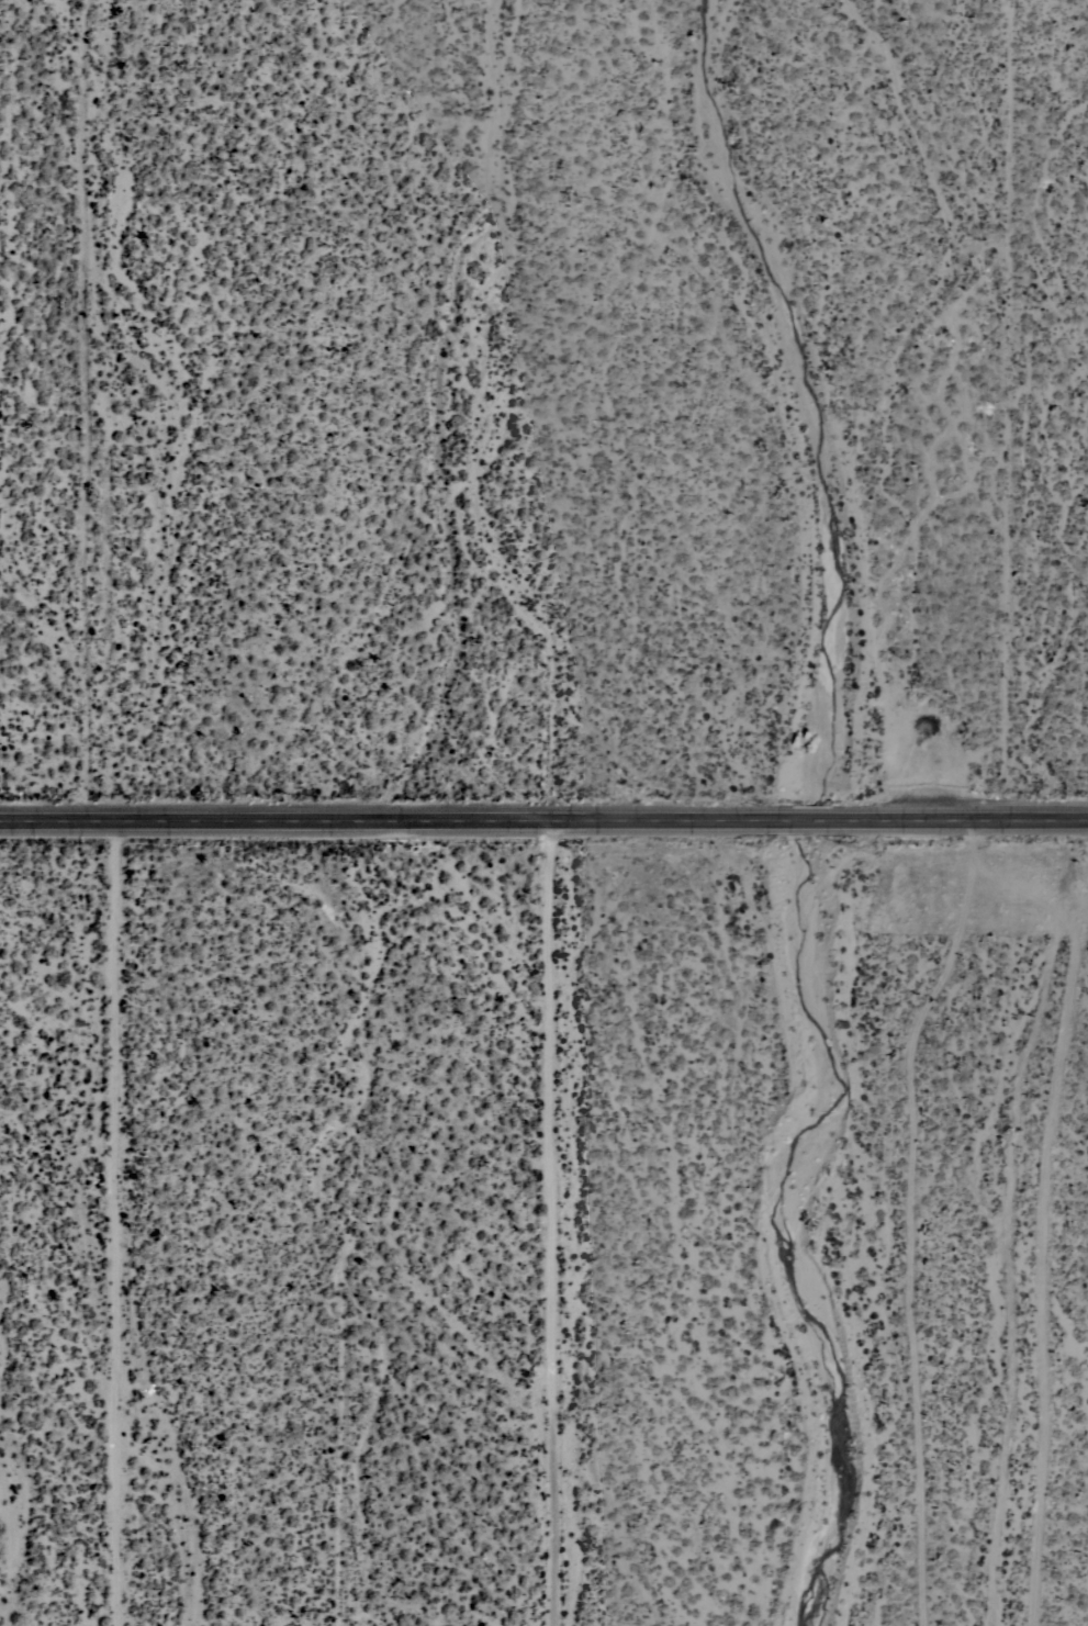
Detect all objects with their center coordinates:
road: (543, 820)
road: (115, 1223)
road: (552, 1223)

